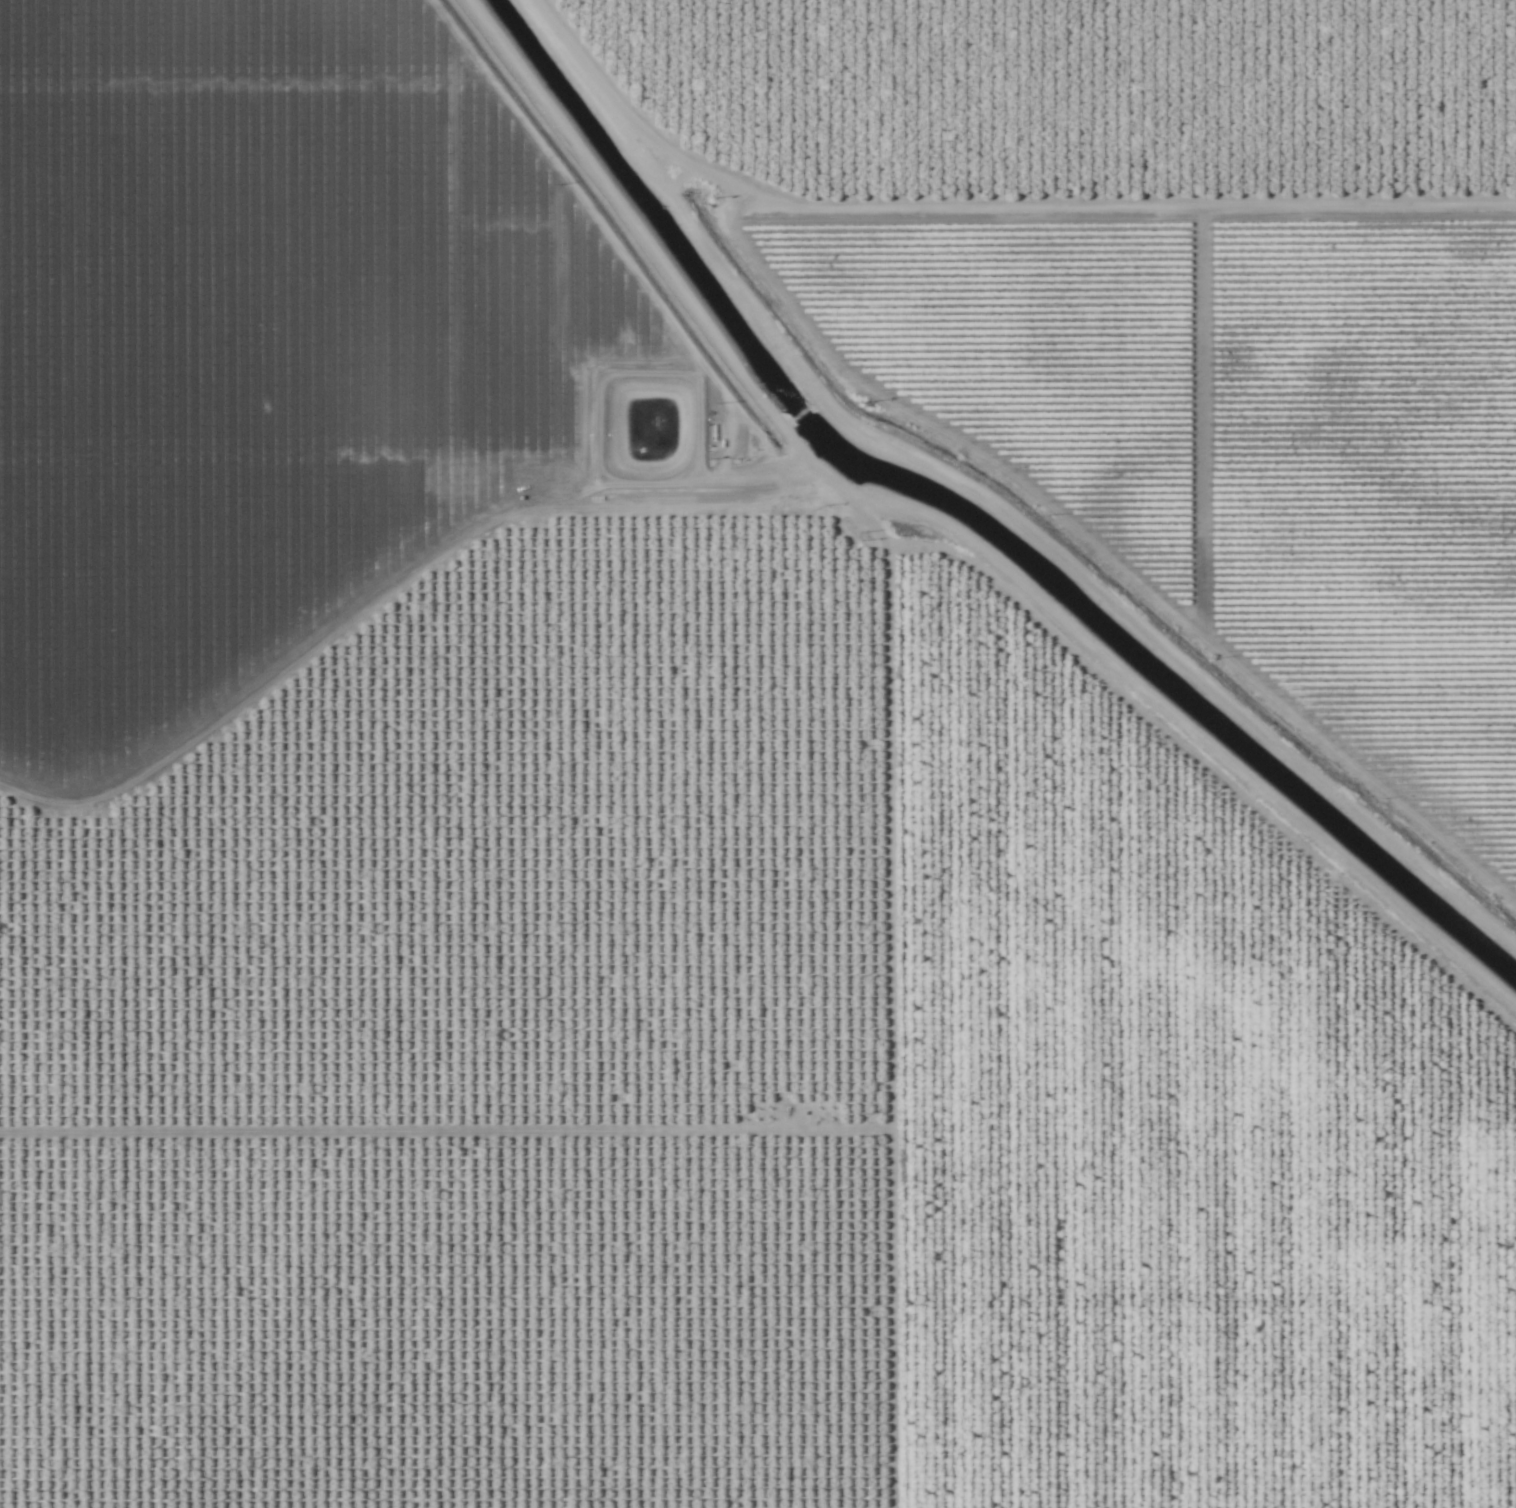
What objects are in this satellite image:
road: (945, 521)
crop: (758, 754)
road: (887, 998)

